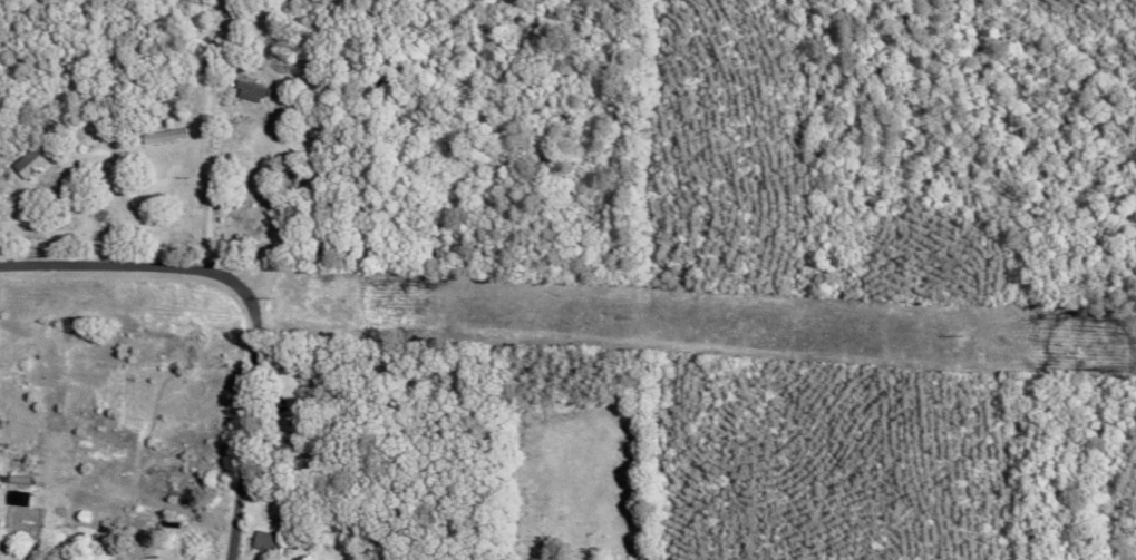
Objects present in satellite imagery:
building: (251, 90)
road: (206, 135)
building: (27, 163)
road: (246, 303)
building: (265, 541)

